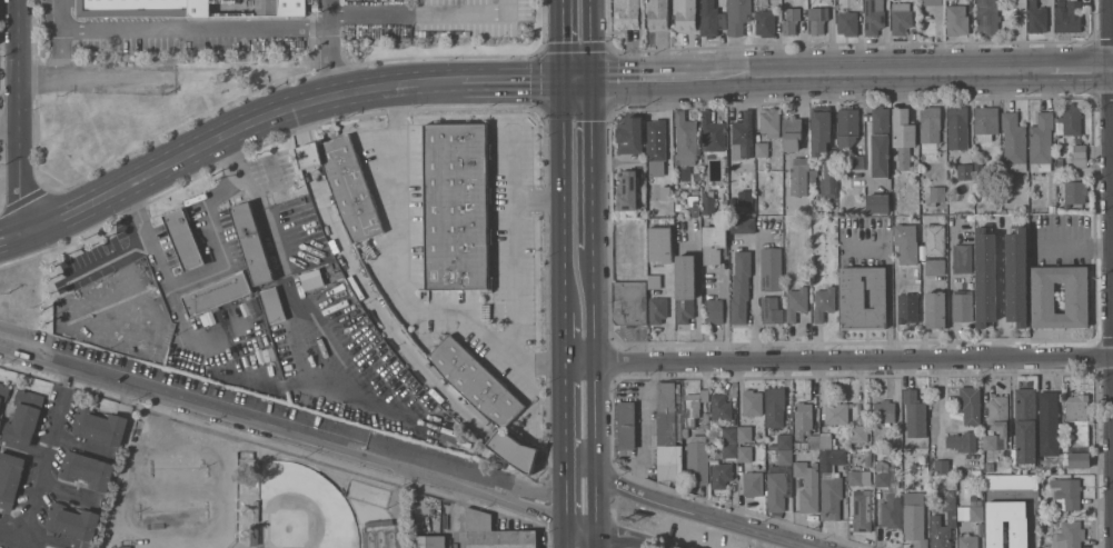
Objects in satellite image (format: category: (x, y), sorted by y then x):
building: (887, 0)
building: (931, 2)
building: (142, 8)
building: (281, 8)
building: (628, 13)
road: (427, 14)
building: (657, 14)
building: (685, 14)
road: (332, 16)
building: (738, 16)
building: (873, 17)
building: (987, 17)
building: (1036, 17)
building: (1067, 17)
building: (901, 18)
building: (710, 19)
building: (817, 19)
parking lot: (433, 20)
building: (791, 20)
building: (956, 20)
building: (765, 22)
building: (847, 23)
road: (181, 29)
road: (589, 39)
road: (560, 40)
road: (60, 54)
road: (337, 62)
road: (1111, 68)
road: (911, 71)
road: (652, 77)
road: (96, 79)
road: (575, 79)
traffic signals: (590, 79)
road: (511, 80)
traffic signals: (560, 80)
road: (19, 117)
building: (1070, 120)
building: (769, 121)
building: (985, 122)
building: (930, 124)
road: (9, 127)
building: (847, 127)
building: (957, 127)
building: (819, 129)
road: (232, 130)
building: (792, 132)
building: (630, 136)
building: (903, 136)
building: (713, 137)
building: (742, 137)
building: (685, 140)
building: (880, 141)
building: (1014, 142)
building: (1041, 142)
building: (655, 148)
building: (762, 149)
building: (1079, 156)
building: (855, 161)
road: (592, 163)
building: (1060, 163)
building: (978, 165)
road: (513, 166)
building: (964, 171)
building: (799, 176)
building: (813, 176)
building: (923, 177)
building: (828, 179)
building: (350, 188)
building: (627, 191)
building: (1074, 192)
building: (936, 193)
road: (560, 197)
building: (707, 203)
building: (724, 203)
building: (877, 203)
building: (457, 207)
building: (1051, 208)
building: (694, 209)
building: (749, 209)
building: (970, 218)
building: (743, 226)
road: (10, 231)
building: (183, 238)
building: (935, 239)
building: (251, 243)
building: (713, 243)
building: (906, 243)
road: (11, 246)
road: (1074, 250)
road: (513, 252)
building: (659, 256)
building: (962, 259)
road: (108, 263)
building: (934, 267)
building: (771, 269)
road: (1105, 273)
building: (1016, 276)
building: (986, 277)
road: (282, 278)
road: (201, 279)
building: (311, 279)
road: (403, 280)
road: (890, 282)
building: (685, 287)
building: (741, 287)
building: (916, 287)
building: (217, 293)
building: (1042, 297)
building: (863, 298)
building: (796, 299)
road: (755, 301)
building: (823, 301)
building: (629, 302)
building: (274, 305)
road: (593, 306)
building: (962, 306)
building: (907, 308)
building: (657, 309)
building: (771, 310)
building: (935, 310)
building: (714, 311)
road: (563, 338)
road: (577, 362)
road: (852, 363)
building: (476, 381)
building: (3, 391)
building: (752, 402)
building: (970, 403)
road: (179, 405)
building: (694, 405)
road: (941, 406)
building: (721, 407)
road: (563, 409)
building: (776, 409)
building: (836, 412)
building: (884, 412)
building: (914, 414)
building: (998, 414)
road: (593, 417)
building: (24, 418)
building: (802, 418)
building: (0, 420)
building: (1049, 424)
building: (626, 425)
building: (100, 426)
building: (1025, 426)
road: (640, 427)
building: (1079, 429)
building: (668, 432)
building: (745, 434)
building: (858, 434)
building: (893, 440)
building: (782, 441)
building: (815, 441)
building: (825, 441)
building: (962, 441)
building: (729, 442)
building: (990, 442)
building: (798, 445)
building: (805, 445)
building: (513, 449)
road: (22, 451)
building: (745, 454)
building: (785, 457)
road: (44, 460)
building: (698, 460)
building: (868, 460)
road: (578, 464)
building: (941, 467)
building: (990, 467)
building: (87, 470)
building: (721, 475)
building: (855, 477)
building: (10, 478)
building: (1011, 481)
building: (753, 484)
building: (831, 484)
building: (807, 486)
road: (564, 488)
building: (776, 491)
park: (242, 494)
building: (1066, 494)
building: (890, 497)
road: (595, 500)
road: (509, 502)
building: (943, 504)
building: (862, 510)
building: (971, 511)
road: (702, 515)
road: (455, 517)
building: (914, 518)
building: (72, 521)
road: (177, 528)
building: (495, 532)
road: (565, 534)
building: (942, 534)
building: (1018, 534)
building: (254, 535)
building: (1069, 535)
road: (596, 538)
building: (429, 541)
building: (968, 541)
road: (645, 546)

